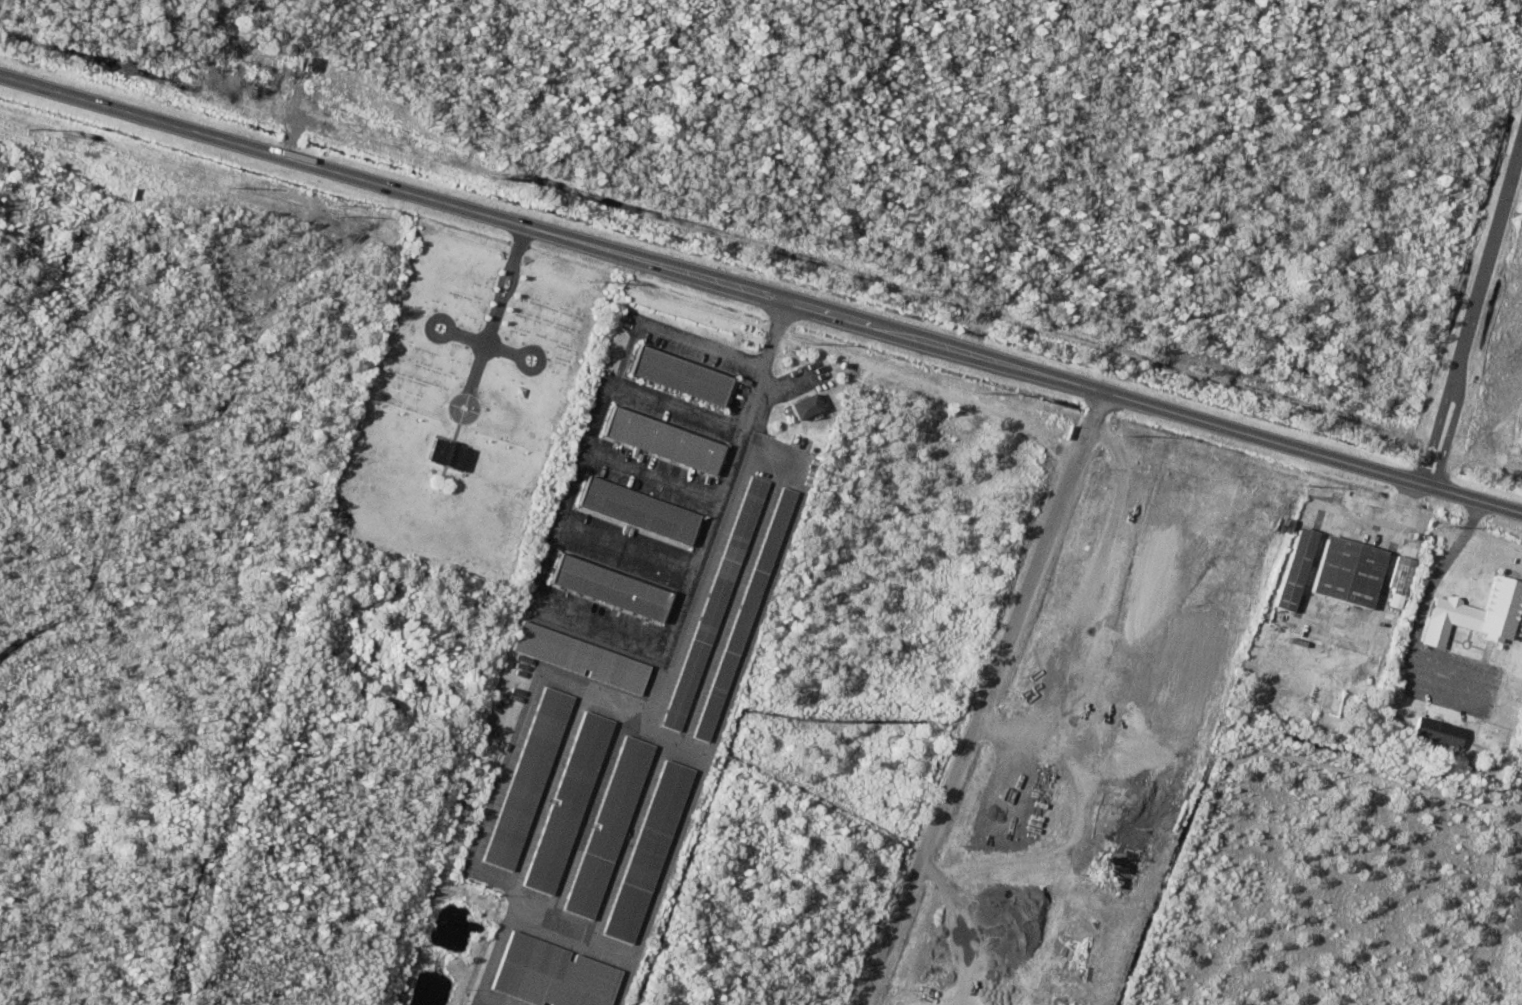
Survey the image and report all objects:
road: (266, 151)
road: (513, 284)
road: (499, 306)
road: (1473, 316)
road: (429, 322)
road: (670, 334)
road: (485, 342)
road: (520, 354)
road: (1028, 369)
building: (684, 374)
road: (785, 384)
park: (470, 404)
building: (808, 405)
building: (666, 439)
building: (451, 452)
road: (652, 473)
building: (640, 508)
road: (626, 547)
building: (1297, 568)
building: (1350, 571)
building: (1402, 574)
road: (1431, 582)
building: (613, 586)
building: (717, 602)
building: (746, 611)
building: (1474, 614)
road: (595, 628)
building: (581, 656)
road: (983, 697)
building: (1440, 730)
building: (529, 777)
building: (569, 802)
road: (1521, 813)
building: (610, 827)
building: (650, 851)
building: (555, 974)

